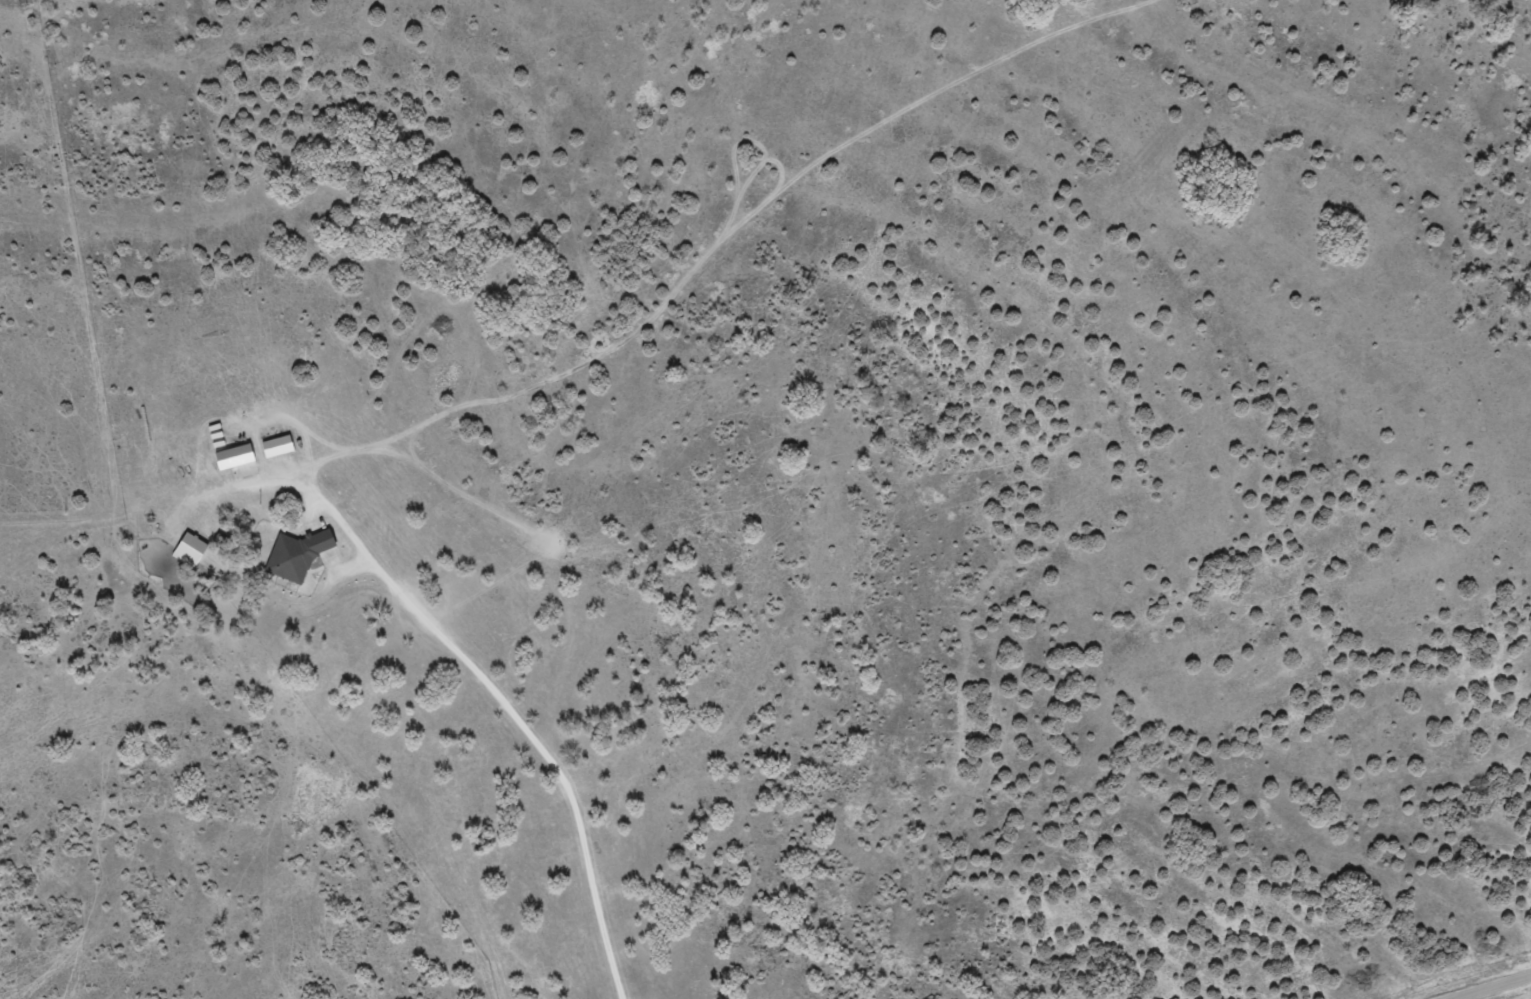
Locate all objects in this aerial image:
road: (1494, 988)

